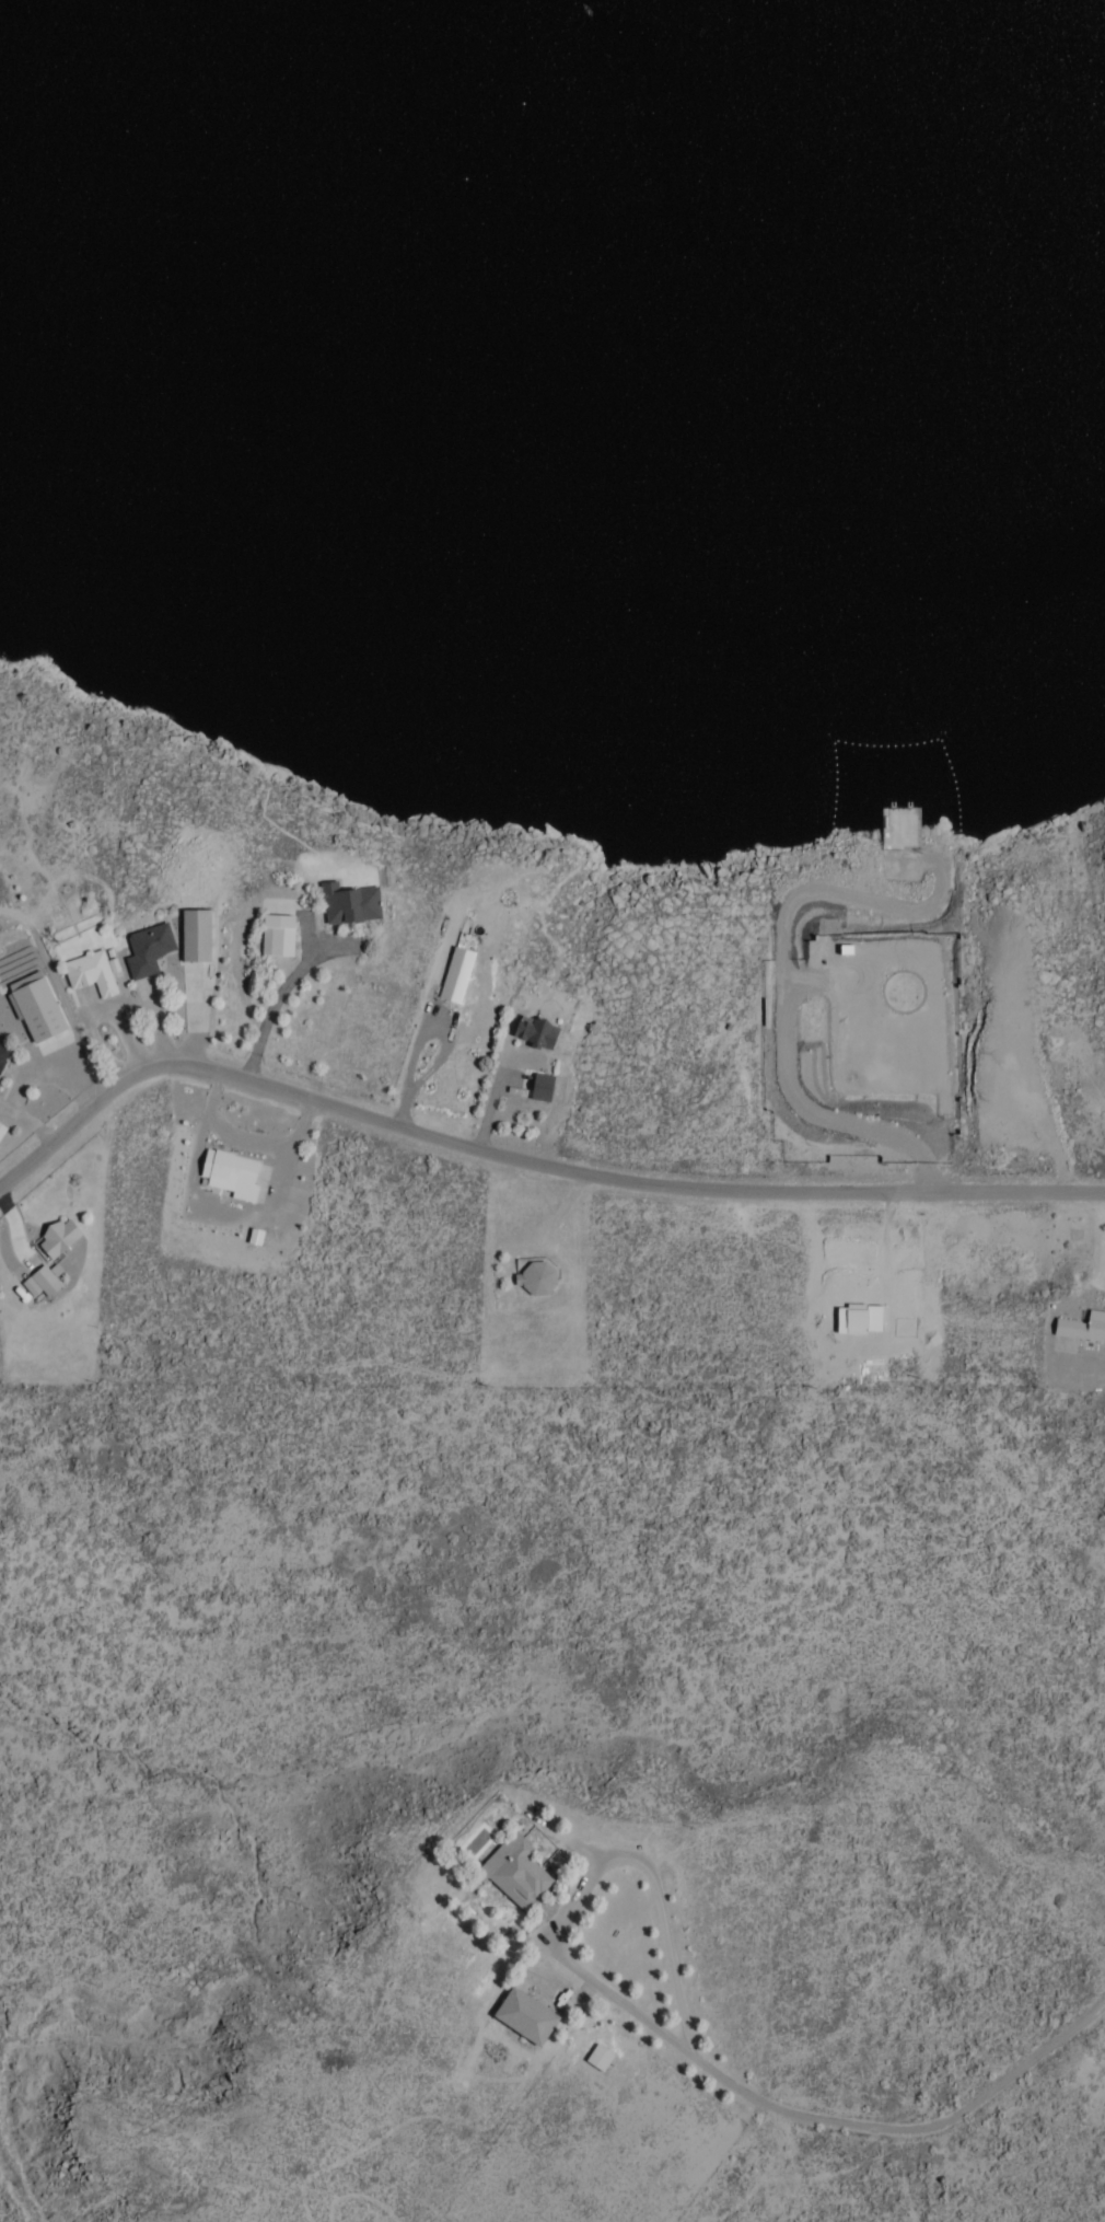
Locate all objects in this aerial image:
river: (724, 116)
building: (340, 906)
building: (185, 936)
building: (264, 937)
building: (133, 951)
building: (77, 975)
building: (531, 1034)
building: (538, 1087)
building: (34, 1106)
road: (523, 1158)
building: (223, 1176)
building: (48, 1240)
building: (533, 1277)
building: (40, 1282)
building: (1079, 1329)
building: (511, 1873)
building: (520, 2016)
building: (596, 2058)
road: (947, 2121)

